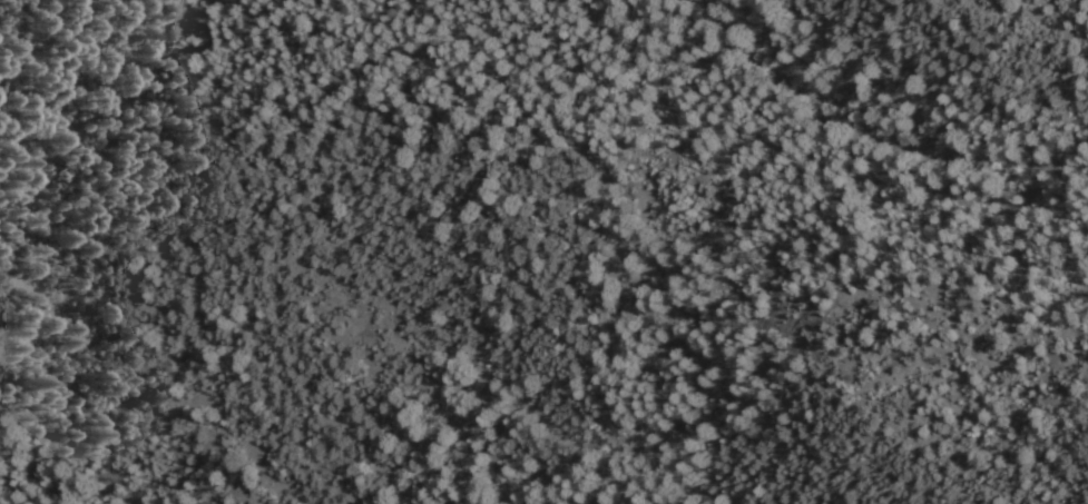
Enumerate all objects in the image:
road: (687, 38)
road: (47, 40)
road: (871, 140)
road: (709, 249)

